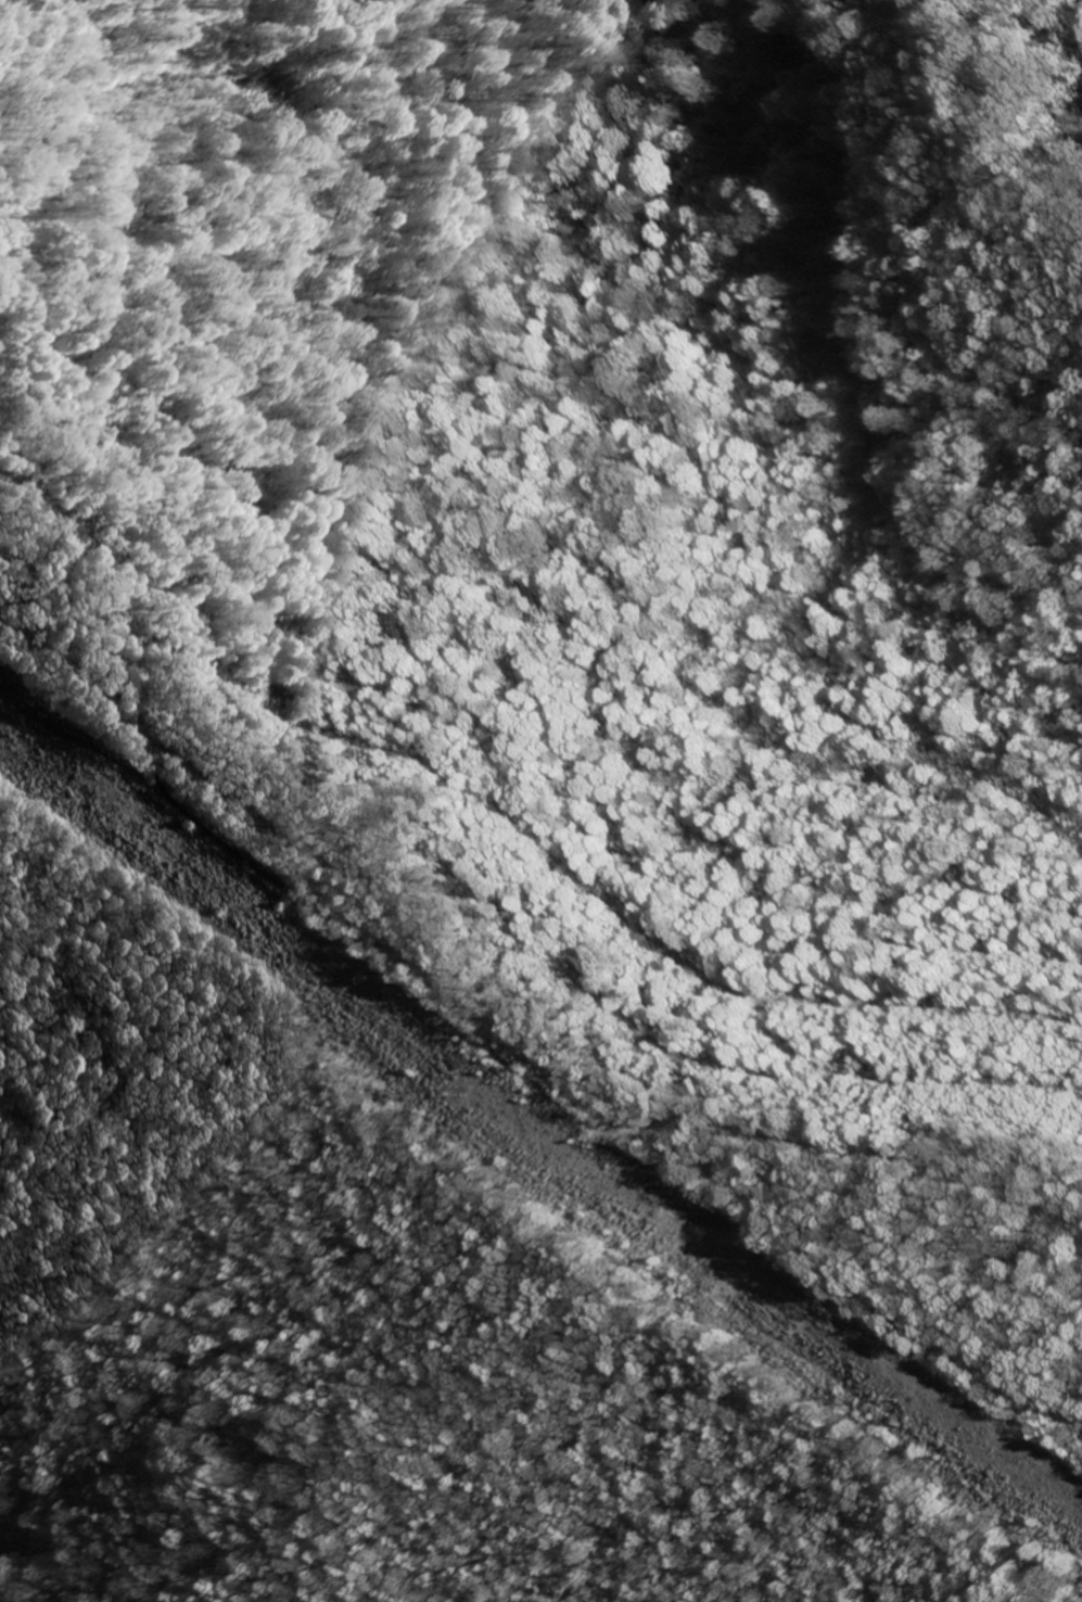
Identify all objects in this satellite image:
power tower: (636, 1193)

